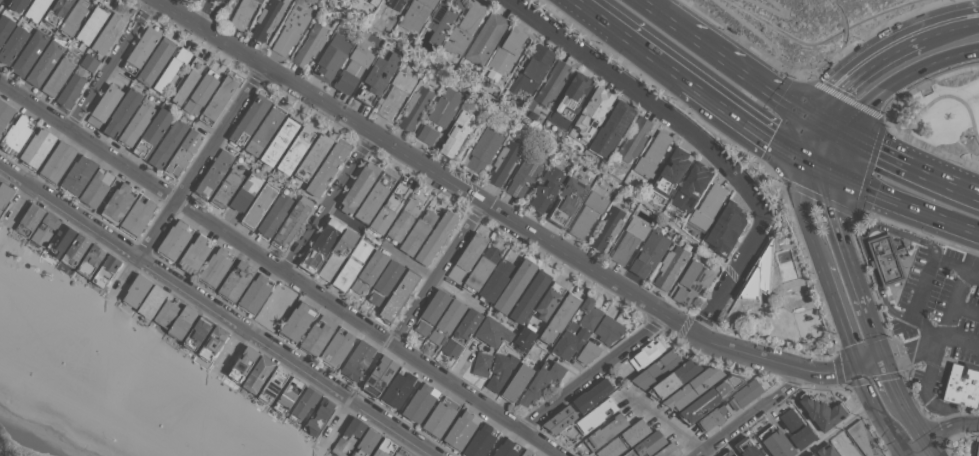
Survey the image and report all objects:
road: (0, 0)
building: (194, 0)
building: (197, 0)
building: (373, 2)
building: (457, 3)
building: (395, 4)
building: (18, 5)
building: (36, 9)
road: (591, 11)
building: (57, 12)
building: (242, 13)
road: (779, 13)
building: (415, 14)
road: (209, 15)
building: (73, 17)
road: (668, 17)
building: (267, 18)
building: (439, 22)
building: (91, 24)
road: (957, 25)
building: (5, 27)
road: (750, 27)
park: (811, 27)
building: (290, 29)
building: (463, 29)
road: (874, 30)
building: (107, 33)
building: (485, 38)
building: (12, 44)
building: (309, 45)
building: (140, 50)
road: (647, 51)
building: (506, 52)
building: (29, 53)
building: (331, 57)
building: (155, 60)
building: (44, 63)
building: (89, 63)
road: (109, 64)
road: (869, 66)
building: (171, 69)
building: (352, 69)
building: (532, 69)
road: (786, 69)
building: (57, 76)
road: (900, 76)
building: (376, 78)
road: (755, 79)
building: (187, 80)
building: (552, 83)
road: (927, 83)
building: (70, 90)
building: (201, 92)
building: (394, 94)
road: (942, 96)
road: (846, 97)
road: (644, 98)
building: (218, 100)
building: (568, 101)
building: (103, 105)
building: (444, 106)
building: (414, 108)
building: (5, 113)
building: (121, 113)
park: (945, 113)
building: (590, 114)
building: (249, 119)
road: (745, 123)
building: (135, 124)
traffic signals: (820, 124)
building: (264, 129)
road: (830, 129)
building: (610, 130)
building: (152, 132)
building: (457, 132)
building: (427, 134)
traffic signals: (841, 134)
building: (16, 135)
building: (279, 140)
building: (633, 140)
road: (813, 142)
building: (167, 143)
road: (731, 146)
building: (37, 148)
building: (483, 149)
road: (933, 149)
building: (295, 151)
road: (836, 152)
building: (182, 153)
road: (48, 155)
building: (651, 155)
building: (312, 157)
building: (57, 161)
traffic signals: (806, 161)
building: (503, 163)
building: (675, 164)
road: (909, 164)
road: (869, 165)
road: (818, 166)
building: (326, 169)
traffic signals: (831, 171)
building: (213, 174)
building: (524, 174)
building: (77, 175)
road: (188, 182)
building: (690, 186)
building: (358, 187)
building: (546, 187)
building: (96, 188)
building: (226, 188)
building: (245, 192)
building: (4, 194)
road: (815, 195)
building: (374, 197)
building: (566, 201)
building: (118, 202)
road: (904, 203)
road: (18, 204)
road: (329, 204)
building: (259, 205)
building: (707, 206)
building: (388, 208)
road: (804, 212)
building: (587, 214)
building: (137, 215)
building: (274, 215)
road: (508, 217)
road: (343, 218)
building: (29, 219)
building: (403, 220)
building: (291, 222)
building: (607, 228)
building: (725, 228)
building: (44, 229)
building: (417, 232)
building: (435, 238)
building: (60, 240)
building: (174, 240)
building: (628, 240)
road: (839, 240)
road: (862, 242)
building: (320, 244)
building: (75, 250)
building: (337, 253)
building: (194, 254)
building: (648, 254)
building: (467, 257)
building: (885, 259)
building: (90, 260)
building: (352, 265)
building: (215, 266)
building: (669, 266)
road: (279, 268)
building: (481, 268)
building: (105, 271)
building: (369, 271)
road: (437, 272)
road: (733, 274)
road: (431, 276)
building: (235, 281)
building: (495, 281)
building: (692, 281)
building: (384, 282)
building: (514, 286)
road: (961, 286)
building: (136, 290)
building: (254, 294)
building: (397, 295)
building: (529, 295)
road: (266, 300)
building: (548, 300)
building: (151, 301)
parking lot: (944, 307)
building: (276, 309)
road: (219, 310)
road: (967, 310)
building: (431, 311)
building: (166, 312)
road: (840, 313)
building: (588, 314)
building: (559, 318)
building: (446, 321)
building: (182, 322)
building: (296, 322)
road: (924, 327)
building: (607, 329)
road: (887, 329)
building: (196, 332)
building: (461, 332)
building: (491, 332)
road: (872, 333)
building: (317, 335)
building: (524, 337)
building: (569, 340)
road: (930, 342)
building: (212, 343)
building: (337, 346)
road: (233, 349)
building: (587, 352)
building: (645, 354)
traffic signals: (882, 358)
building: (357, 360)
building: (243, 363)
building: (481, 363)
traffic signals: (859, 365)
building: (656, 368)
road: (368, 369)
building: (500, 371)
road: (591, 373)
building: (258, 374)
building: (379, 375)
road: (890, 377)
building: (672, 379)
building: (541, 381)
road: (856, 381)
building: (516, 382)
building: (962, 384)
building: (272, 385)
building: (398, 388)
building: (692, 388)
building: (744, 394)
building: (287, 395)
building: (591, 395)
building: (710, 396)
road: (871, 401)
building: (419, 402)
building: (303, 404)
building: (822, 411)
road: (751, 413)
building: (594, 415)
building: (318, 416)
building: (439, 417)
building: (712, 418)
road: (334, 419)
building: (559, 419)
road: (913, 420)
road: (662, 422)
road: (836, 428)
building: (796, 429)
building: (460, 430)
road: (945, 430)
building: (605, 431)
building: (348, 436)
building: (859, 437)
road: (500, 438)
building: (623, 439)
building: (480, 441)
building: (775, 442)
building: (365, 443)
building: (646, 444)
road: (899, 445)
building: (746, 447)
building: (384, 448)
building: (506, 448)
road: (932, 449)
building: (977, 449)
building: (667, 450)
building: (826, 450)
building: (850, 451)
building: (400, 452)
building: (526, 452)
building: (729, 453)
road: (913, 453)
building: (812, 455)

